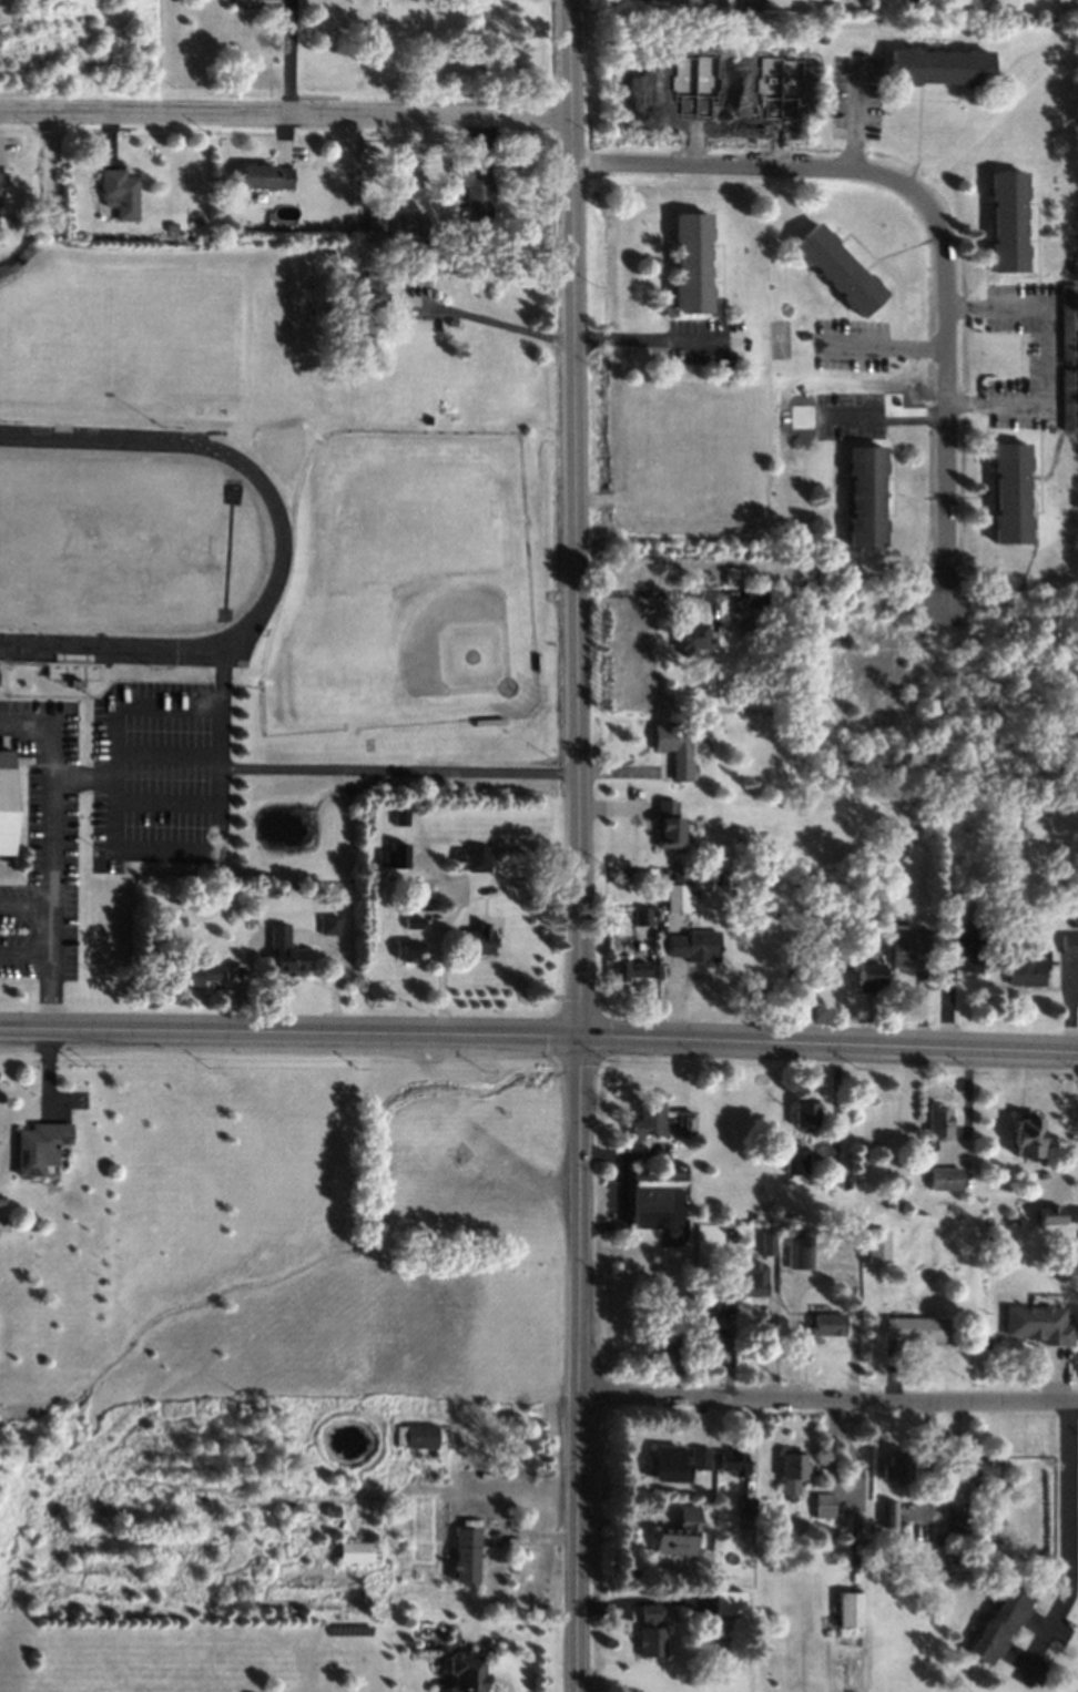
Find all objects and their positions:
building: (745, 3)
building: (903, 6)
road: (286, 57)
building: (935, 65)
road: (285, 112)
road: (855, 116)
road: (749, 165)
building: (261, 175)
building: (0, 186)
building: (470, 188)
building: (114, 192)
building: (373, 218)
building: (347, 221)
building: (1004, 221)
building: (406, 223)
building: (165, 225)
building: (692, 263)
building: (833, 267)
building: (404, 268)
building: (364, 296)
building: (1065, 320)
road: (498, 325)
road: (657, 339)
parking lot: (700, 340)
road: (885, 346)
road: (1047, 356)
road: (948, 390)
building: (1067, 396)
road: (886, 414)
building: (1007, 491)
building: (861, 495)
park: (106, 544)
track: (134, 546)
park: (404, 587)
building: (847, 588)
road: (653, 591)
building: (752, 592)
building: (687, 634)
building: (537, 664)
building: (73, 672)
building: (489, 720)
building: (672, 747)
road: (400, 769)
road: (84, 778)
road: (114, 787)
building: (6, 803)
building: (396, 815)
building: (667, 818)
building: (706, 839)
road: (579, 845)
road: (53, 850)
building: (454, 852)
building: (459, 854)
building: (388, 857)
building: (474, 857)
building: (673, 890)
road: (452, 900)
building: (858, 901)
building: (424, 904)
road: (27, 905)
building: (638, 915)
building: (408, 918)
building: (1072, 920)
building: (325, 923)
building: (476, 941)
building: (905, 941)
building: (1068, 941)
building: (691, 945)
building: (960, 946)
building: (403, 947)
building: (281, 950)
road: (27, 956)
building: (627, 967)
building: (1016, 967)
building: (189, 974)
building: (864, 976)
road: (539, 1034)
building: (804, 1112)
building: (649, 1117)
building: (684, 1118)
building: (936, 1122)
building: (1025, 1135)
building: (38, 1146)
building: (797, 1165)
building: (944, 1176)
building: (0, 1200)
building: (654, 1202)
building: (891, 1205)
building: (1048, 1214)
building: (877, 1241)
building: (766, 1247)
building: (797, 1247)
building: (751, 1281)
building: (721, 1304)
building: (821, 1326)
building: (1039, 1327)
building: (914, 1331)
building: (710, 1338)
road: (827, 1397)
building: (421, 1438)
building: (703, 1457)
building: (672, 1460)
building: (732, 1464)
building: (895, 1465)
building: (791, 1467)
building: (982, 1467)
building: (332, 1507)
building: (746, 1507)
building: (826, 1510)
building: (887, 1515)
building: (954, 1517)
building: (680, 1537)
road: (1066, 1539)
building: (356, 1548)
building: (955, 1550)
building: (467, 1557)
building: (729, 1607)
building: (848, 1612)
building: (649, 1613)
building: (1003, 1625)
building: (649, 1642)
building: (465, 1670)

